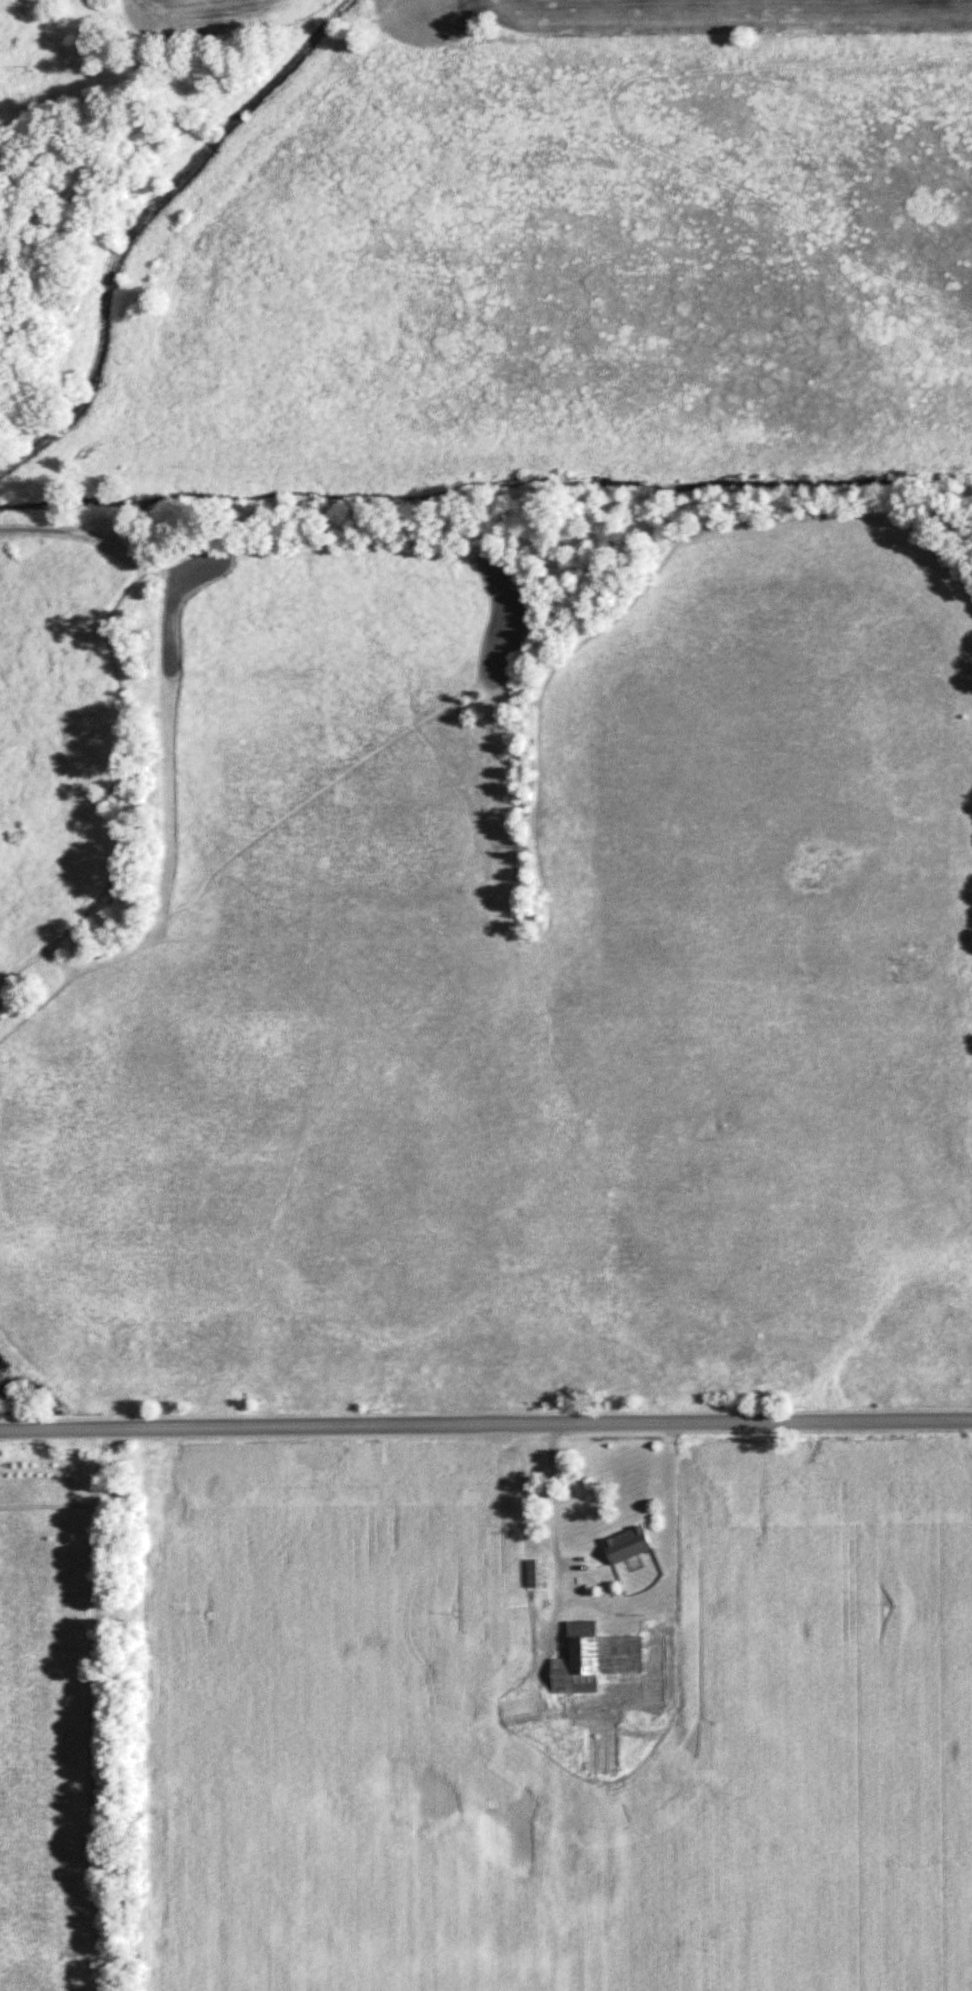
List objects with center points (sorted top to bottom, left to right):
road: (485, 1424)
road: (548, 1493)
building: (632, 1546)
building: (541, 1575)
building: (599, 1660)
building: (521, 1708)

